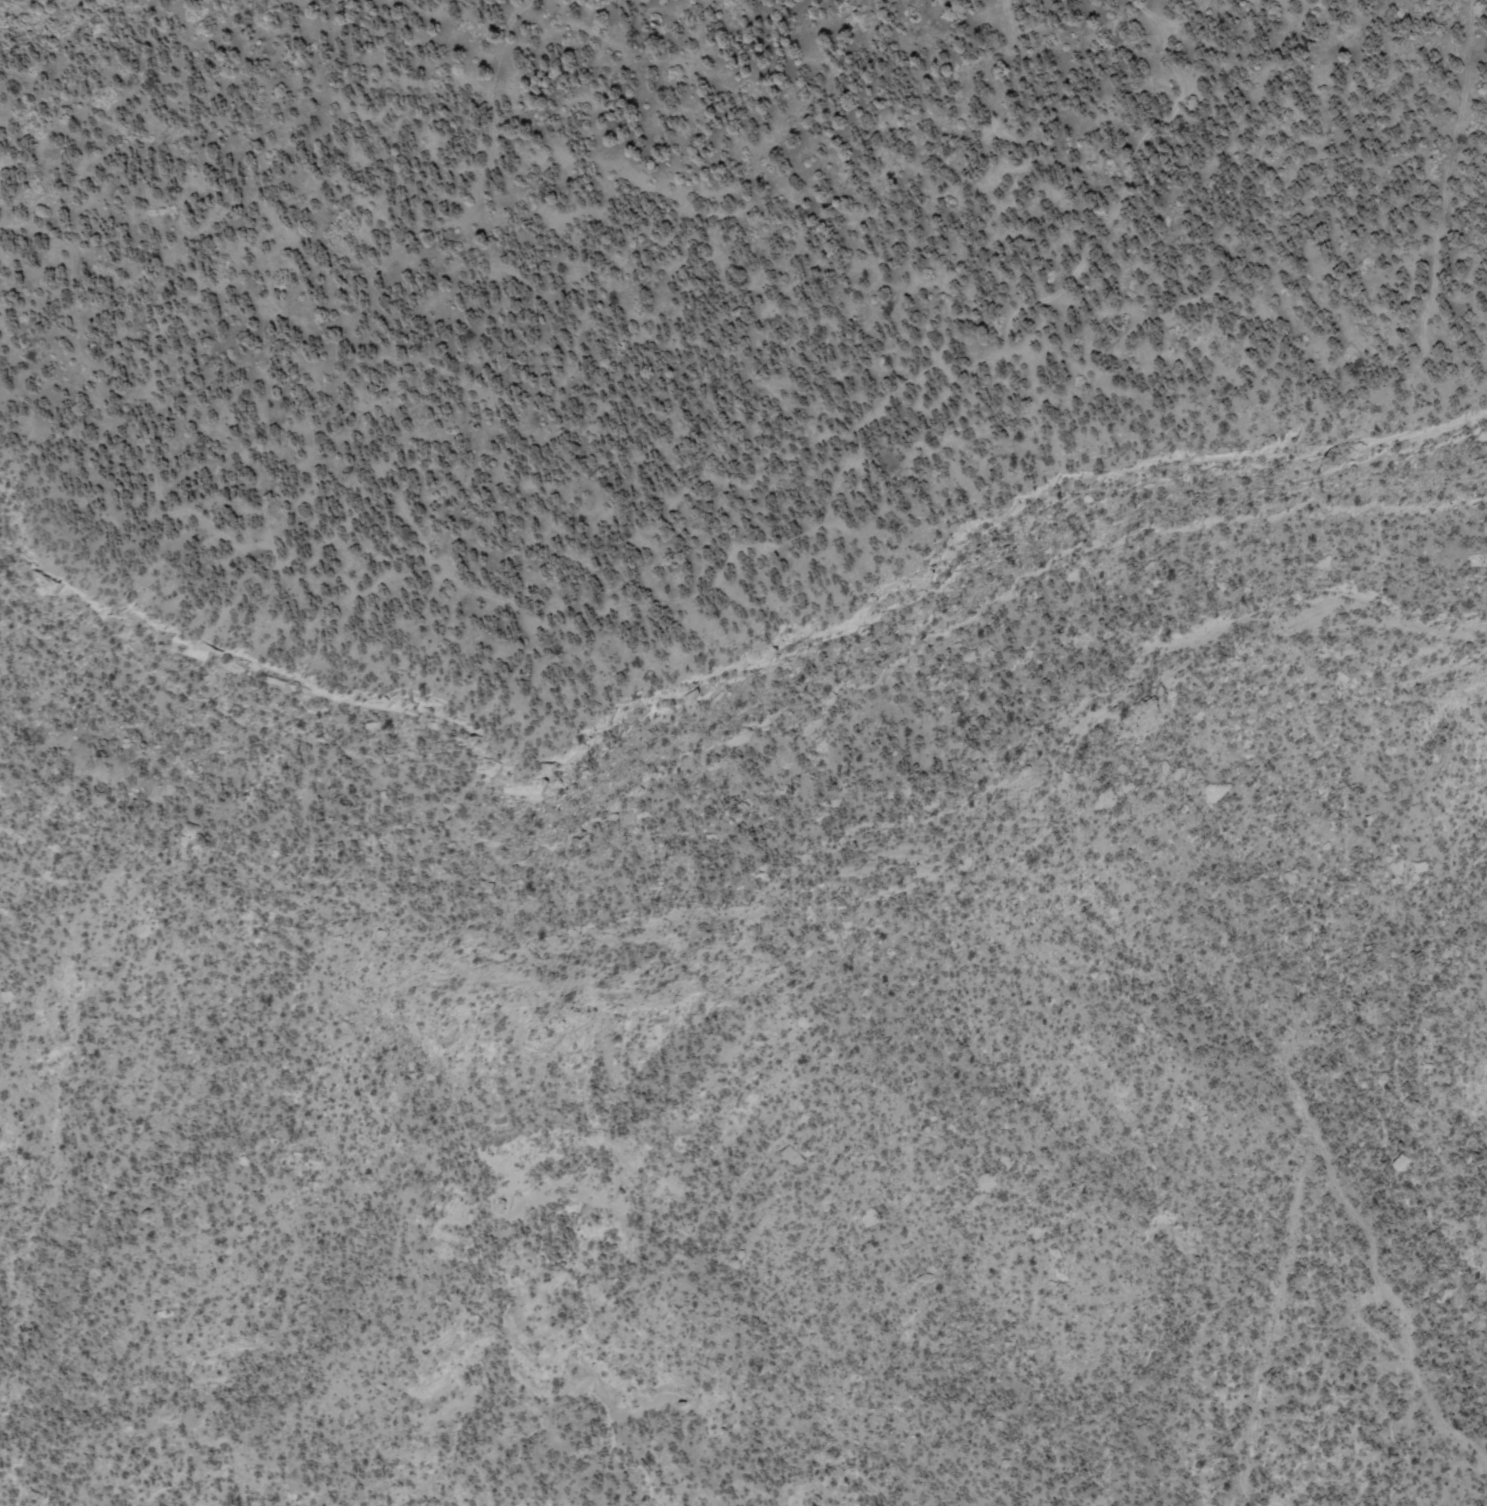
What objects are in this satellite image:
road: (1263, 1)
road: (1307, 1329)

